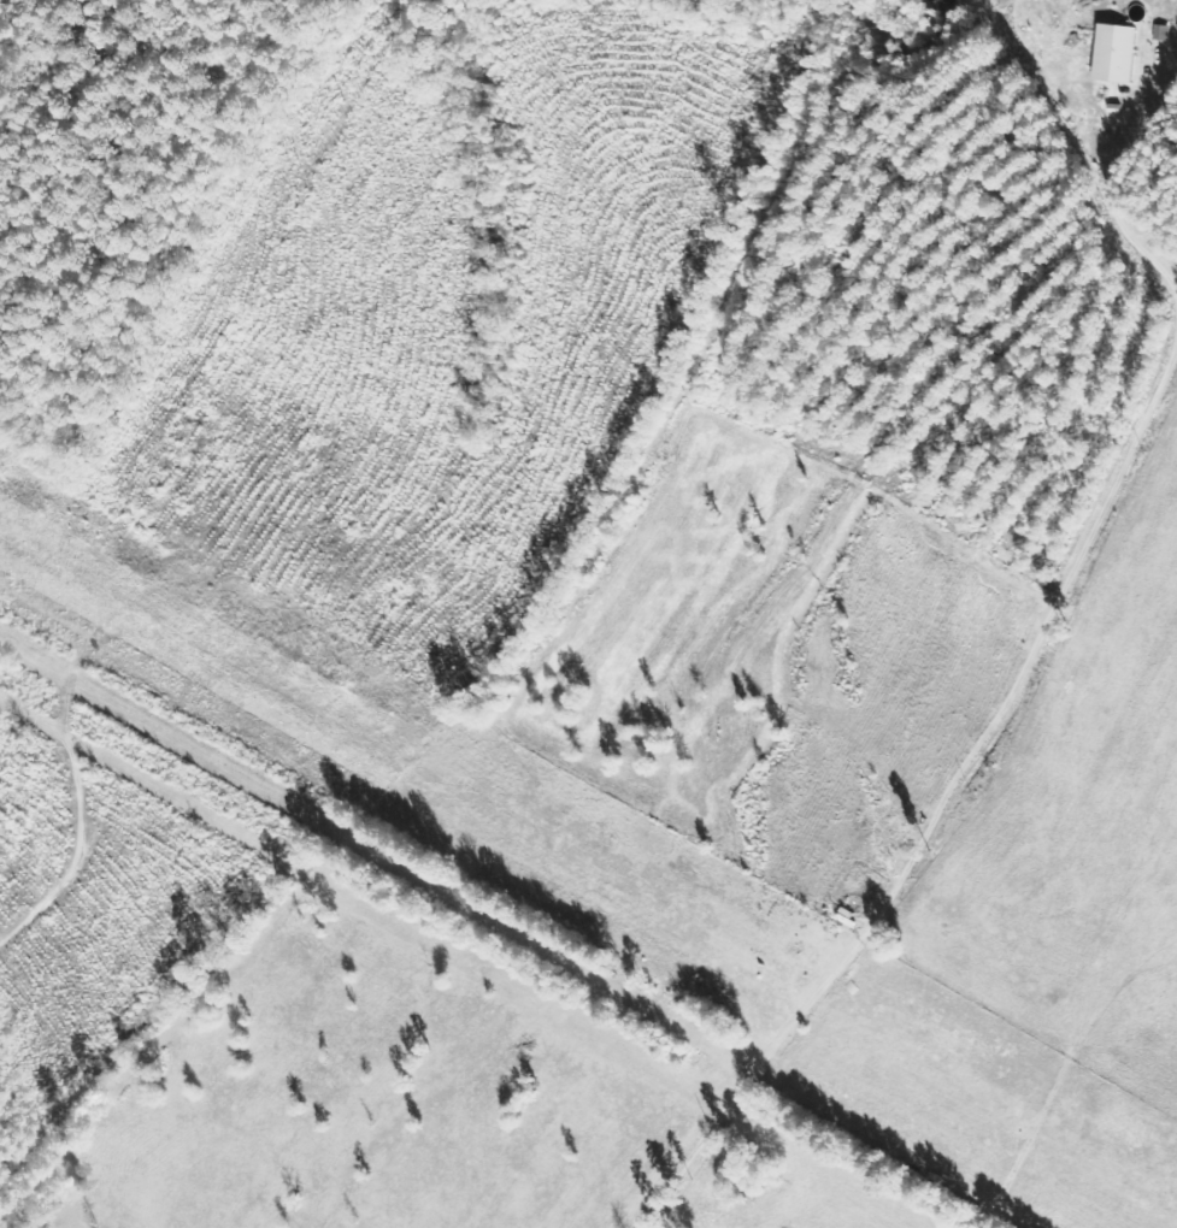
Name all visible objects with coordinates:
building: (1111, 52)

